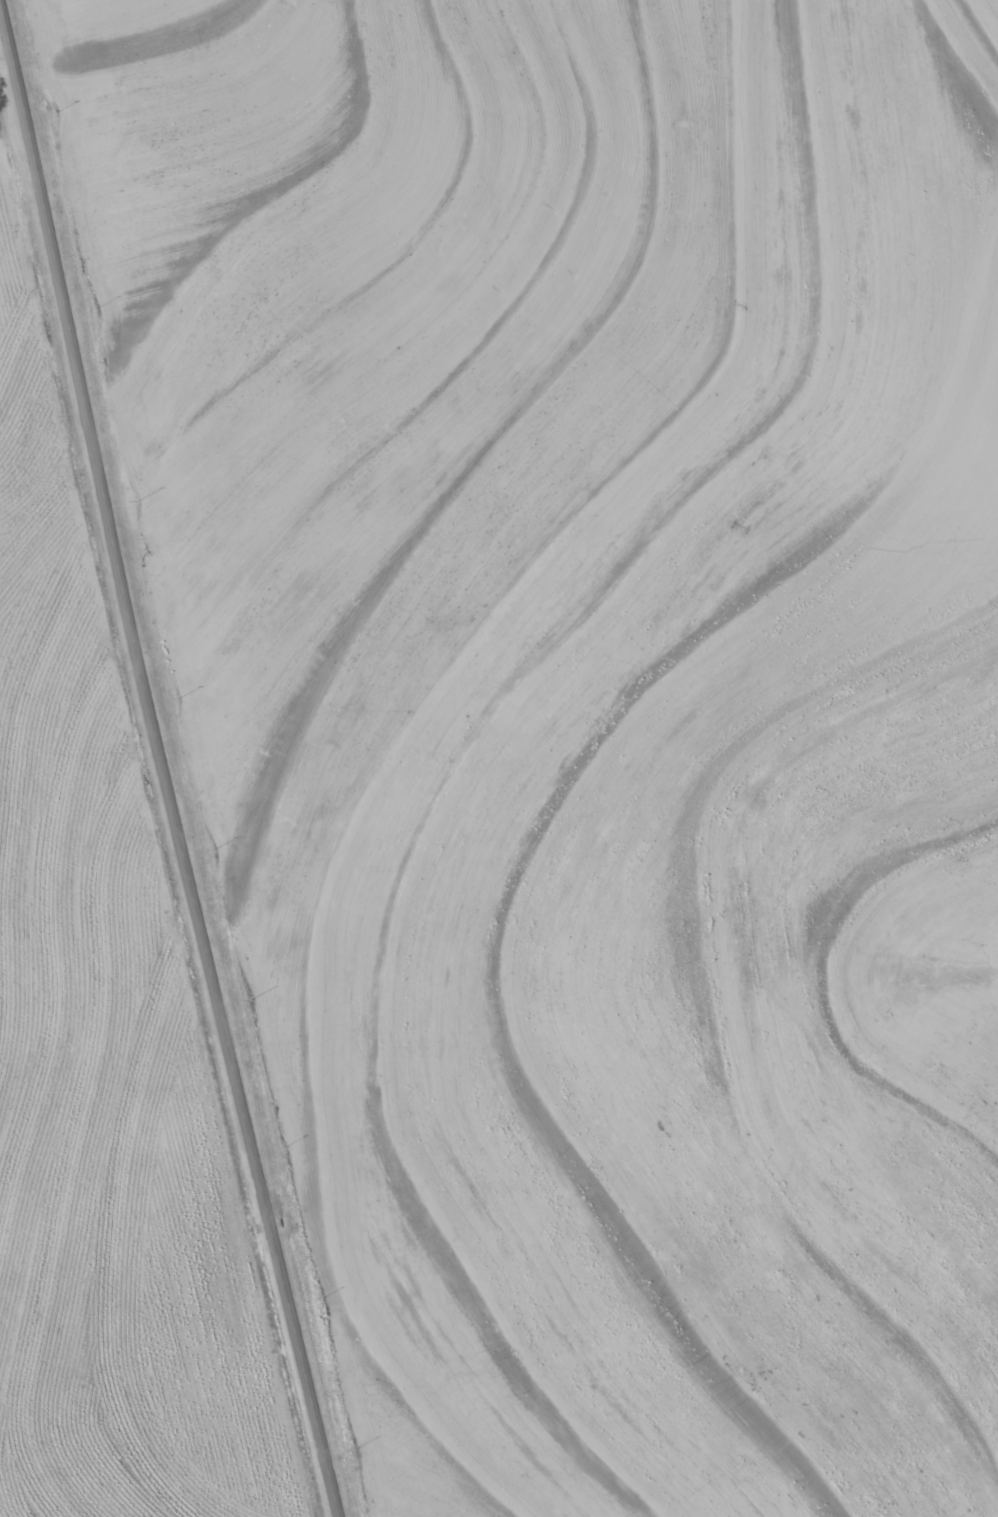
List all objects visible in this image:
road: (164, 762)

